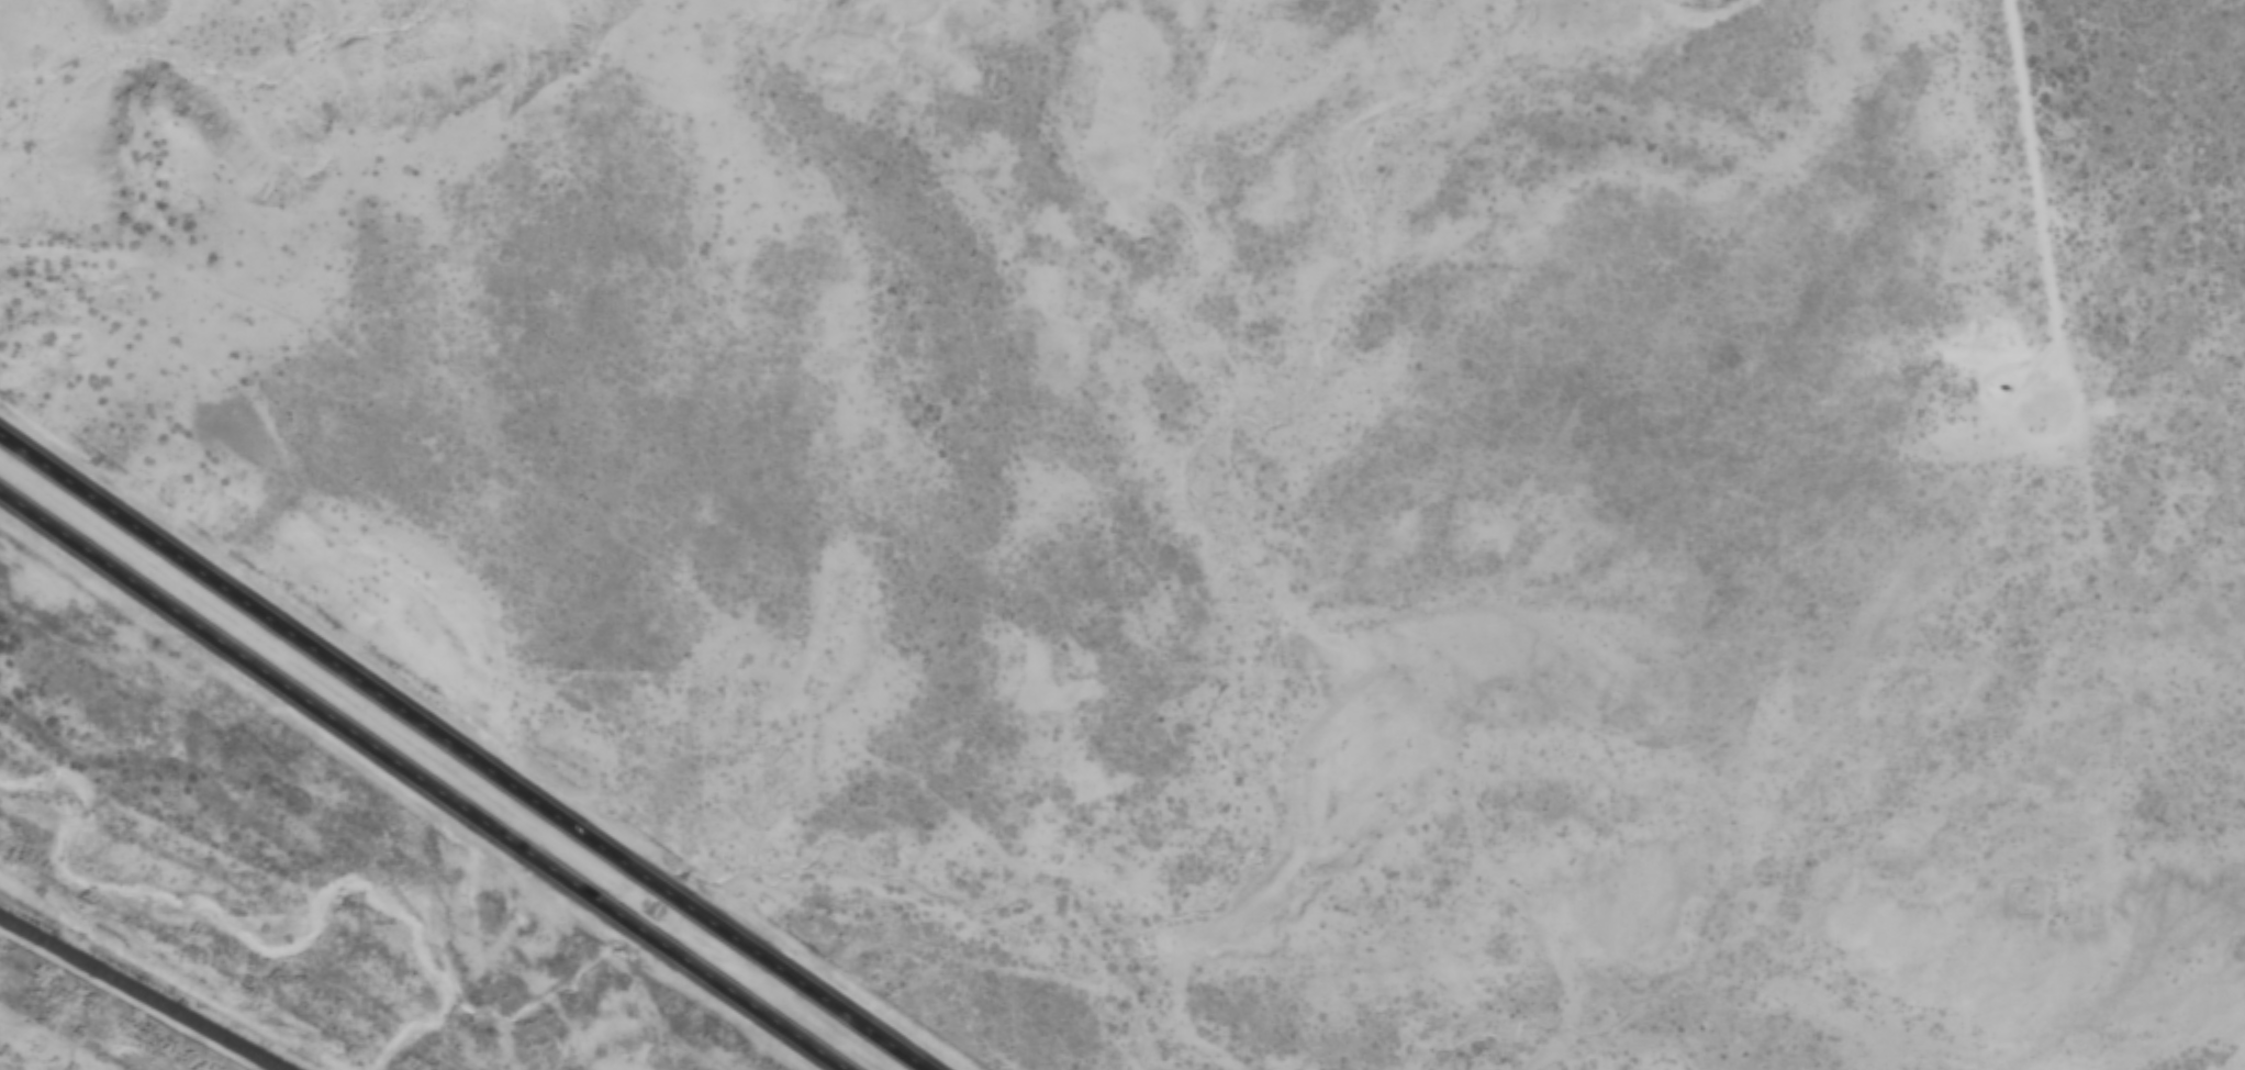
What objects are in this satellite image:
road: (459, 755)
road: (425, 779)
railway: (138, 995)

